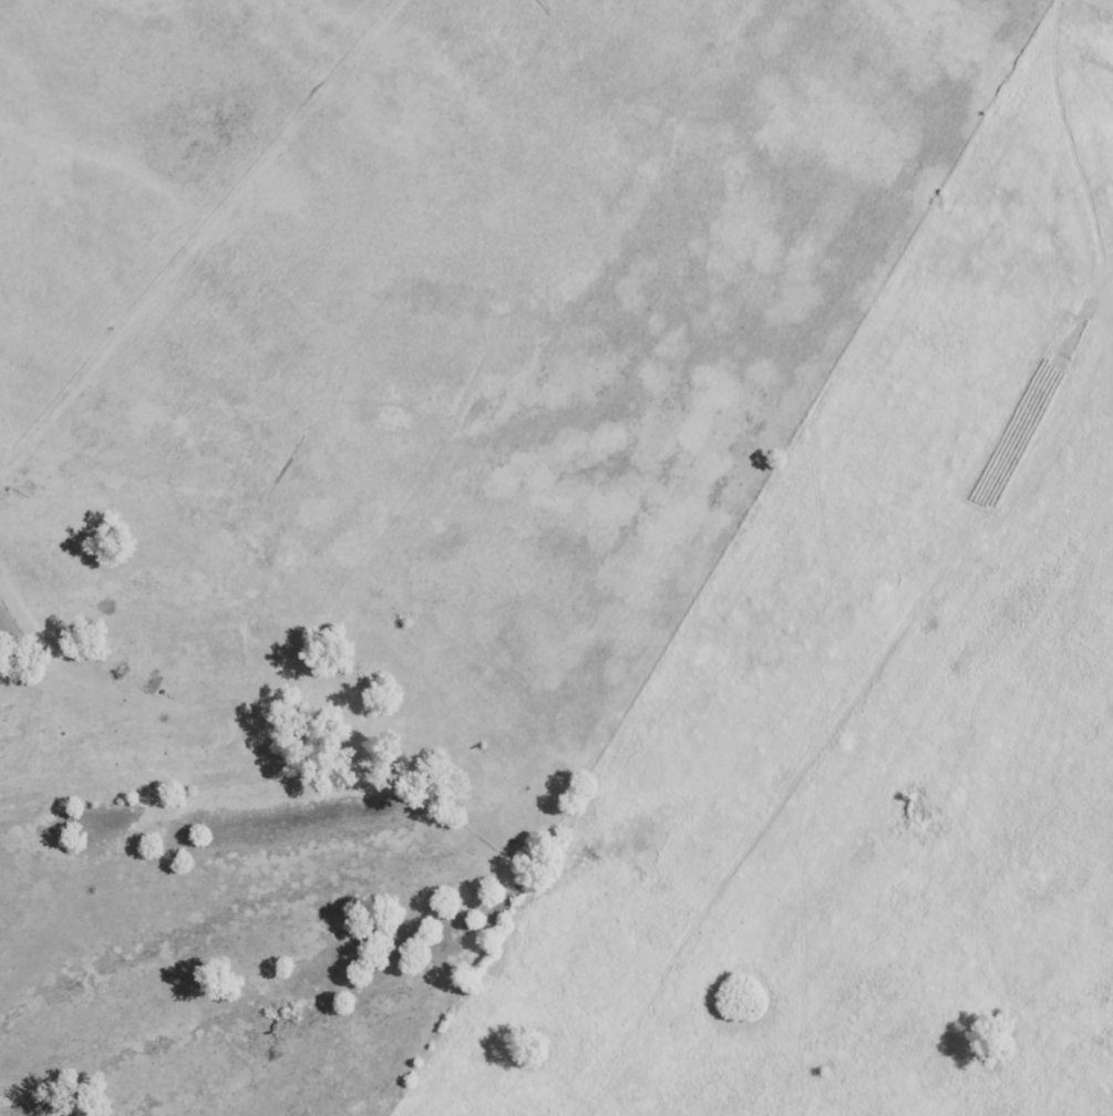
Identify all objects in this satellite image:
road: (31, 623)

